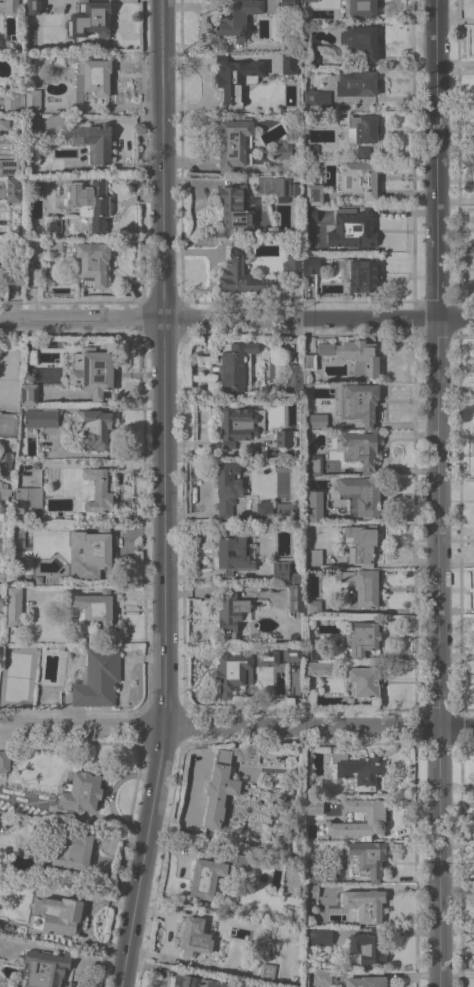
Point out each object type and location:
building: (310, 0)
building: (290, 4)
building: (11, 6)
building: (33, 7)
building: (363, 8)
building: (242, 16)
building: (91, 18)
building: (361, 41)
building: (311, 54)
building: (289, 63)
building: (94, 76)
building: (236, 77)
building: (357, 83)
road: (204, 85)
building: (79, 96)
building: (316, 100)
building: (33, 101)
building: (13, 103)
building: (4, 122)
building: (32, 126)
building: (358, 128)
building: (92, 140)
building: (233, 141)
building: (284, 149)
building: (309, 152)
building: (363, 153)
building: (9, 166)
building: (360, 179)
building: (282, 188)
building: (14, 189)
building: (312, 189)
building: (90, 202)
building: (235, 208)
building: (314, 214)
building: (53, 224)
building: (360, 228)
building: (54, 246)
building: (36, 247)
building: (93, 263)
building: (311, 265)
building: (292, 267)
building: (240, 275)
building: (361, 275)
building: (13, 276)
road: (236, 318)
building: (353, 355)
building: (307, 366)
building: (236, 367)
building: (92, 371)
building: (293, 380)
building: (29, 394)
road: (132, 394)
road: (66, 395)
road: (97, 395)
building: (362, 401)
building: (42, 417)
building: (316, 420)
building: (237, 426)
building: (94, 427)
building: (285, 438)
building: (360, 448)
building: (5, 462)
building: (313, 463)
building: (228, 487)
building: (4, 493)
building: (100, 493)
road: (438, 493)
road: (162, 494)
building: (361, 494)
building: (26, 500)
building: (314, 506)
building: (284, 508)
building: (264, 510)
building: (17, 537)
building: (361, 543)
building: (92, 551)
building: (232, 551)
building: (314, 557)
building: (284, 572)
building: (0, 573)
building: (364, 585)
building: (1, 587)
building: (296, 597)
building: (14, 606)
building: (312, 606)
building: (96, 608)
building: (230, 614)
building: (364, 638)
building: (60, 648)
building: (292, 653)
building: (313, 654)
building: (265, 657)
building: (319, 667)
building: (233, 672)
park: (17, 676)
building: (97, 678)
building: (364, 681)
road: (236, 727)
building: (4, 760)
building: (356, 770)
building: (223, 787)
building: (82, 791)
building: (314, 806)
building: (375, 817)
building: (74, 852)
building: (369, 857)
building: (213, 872)
building: (316, 874)
building: (31, 882)
building: (312, 890)
building: (370, 904)
building: (63, 913)
building: (195, 936)
building: (319, 936)
building: (367, 948)
building: (45, 968)
building: (267, 972)
building: (322, 978)
building: (196, 981)
building: (365, 981)

